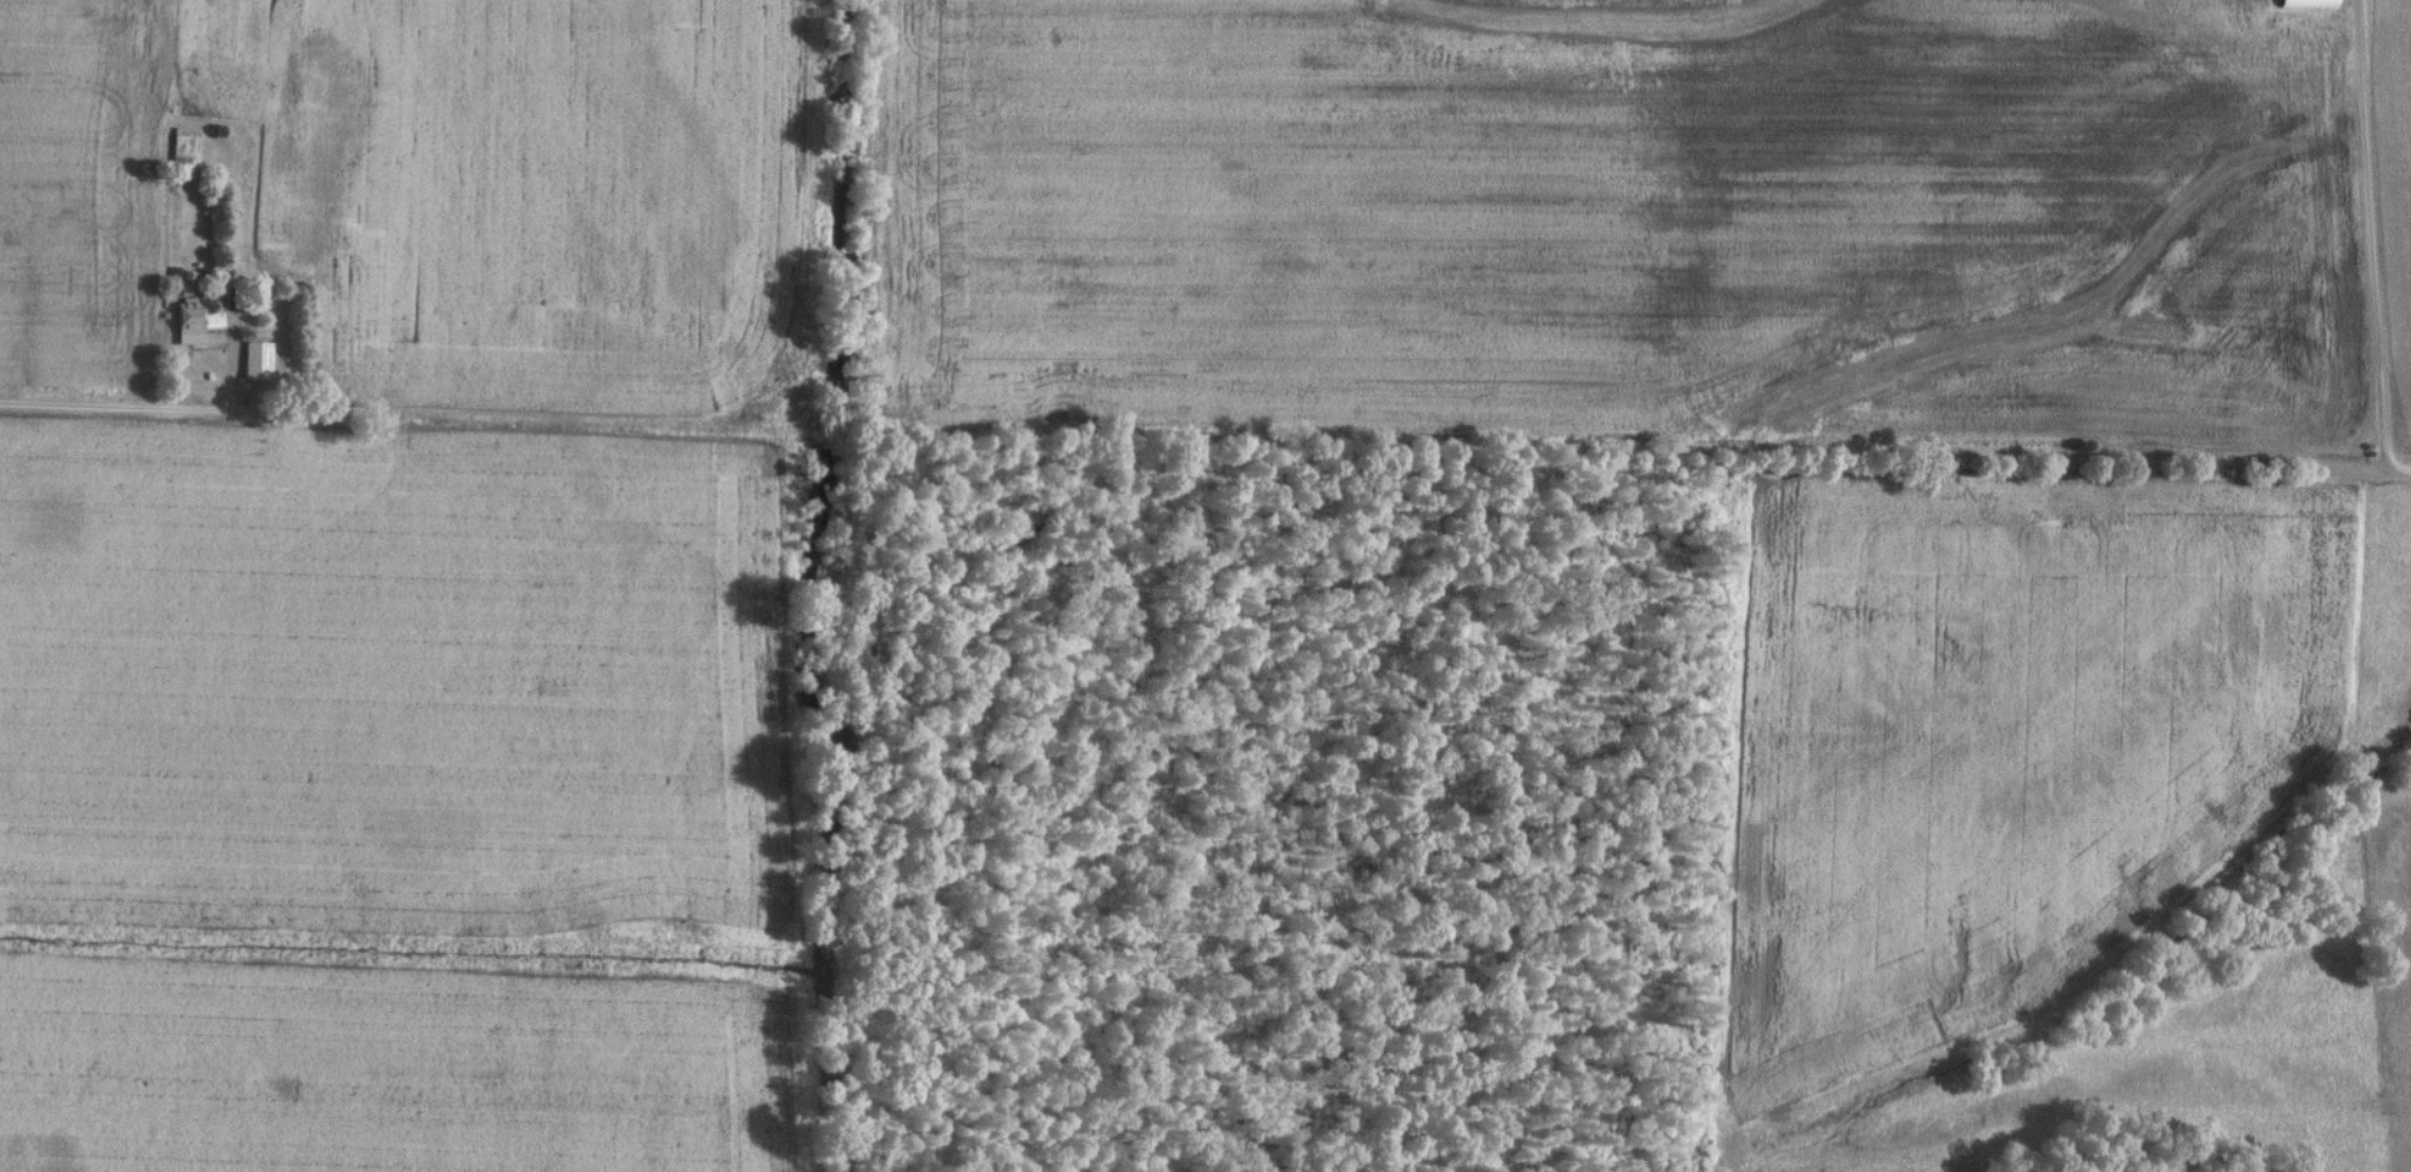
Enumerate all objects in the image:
building: (181, 158)
road: (2369, 232)
building: (191, 322)
building: (252, 366)
road: (118, 403)
road: (2263, 472)

